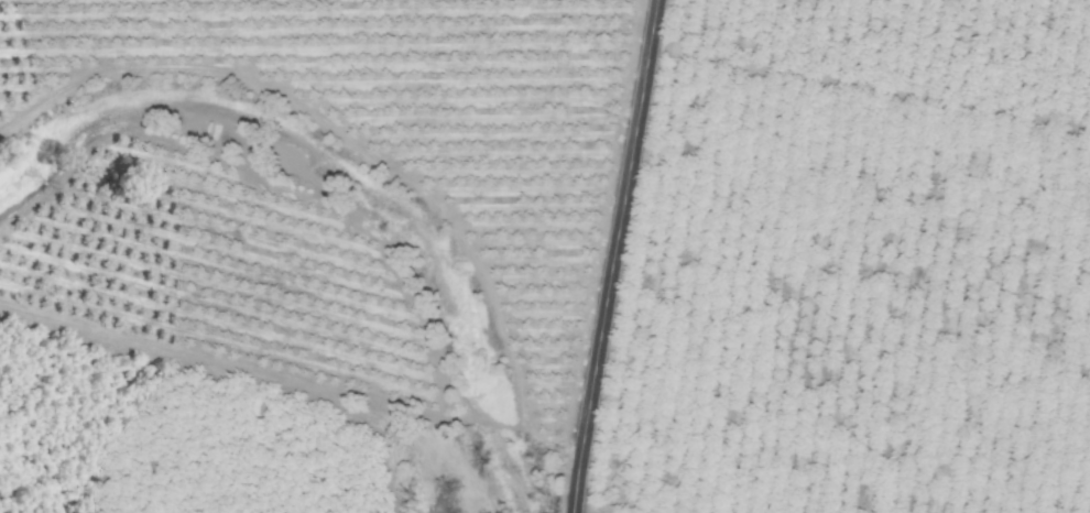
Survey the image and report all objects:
building: (553, 116)
building: (541, 184)
road: (610, 255)
building: (526, 265)
building: (1083, 436)

